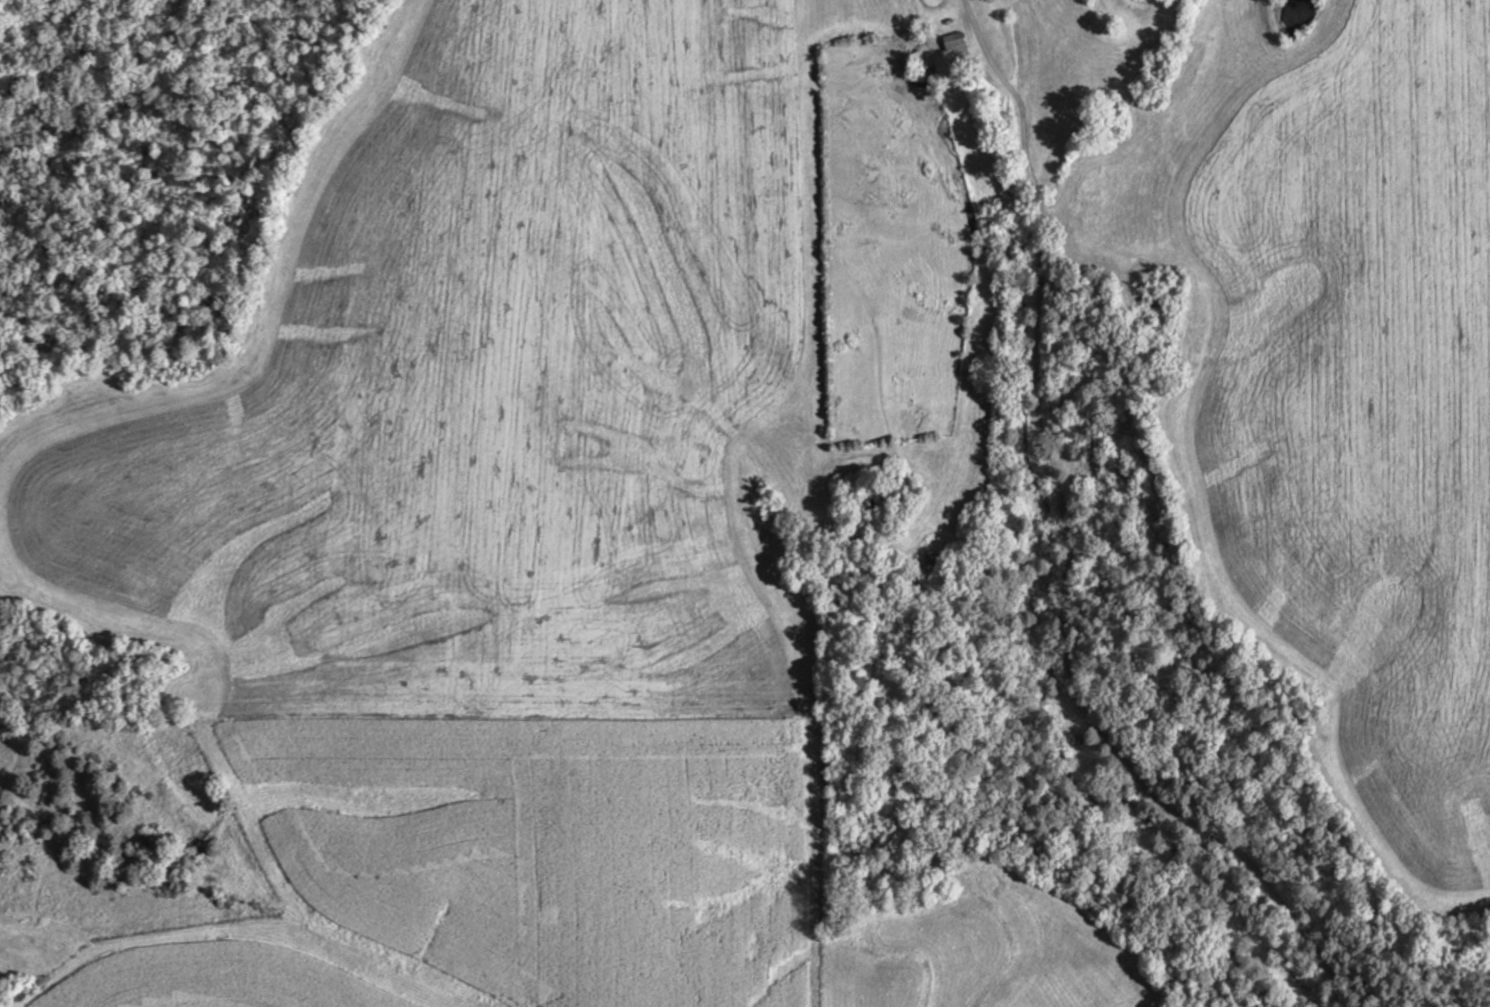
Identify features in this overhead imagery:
building: (955, 41)
road: (1055, 538)

